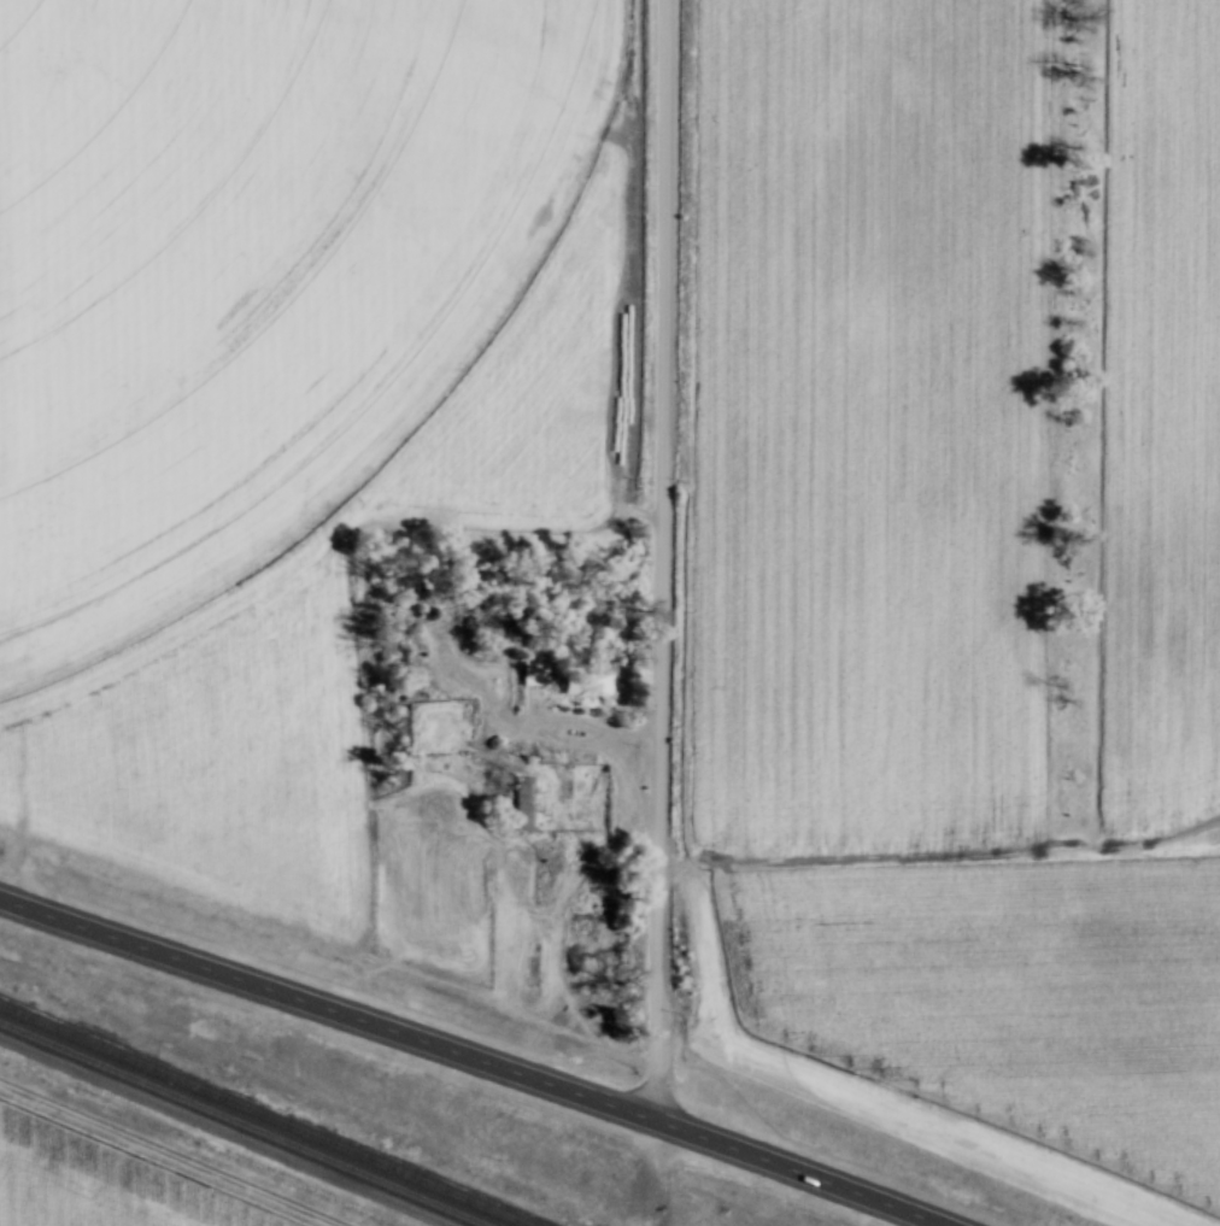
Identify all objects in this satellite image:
road: (661, 559)
building: (533, 670)
road: (622, 756)
building: (526, 802)
road: (473, 1057)
railway: (265, 1115)
railway: (245, 1124)

